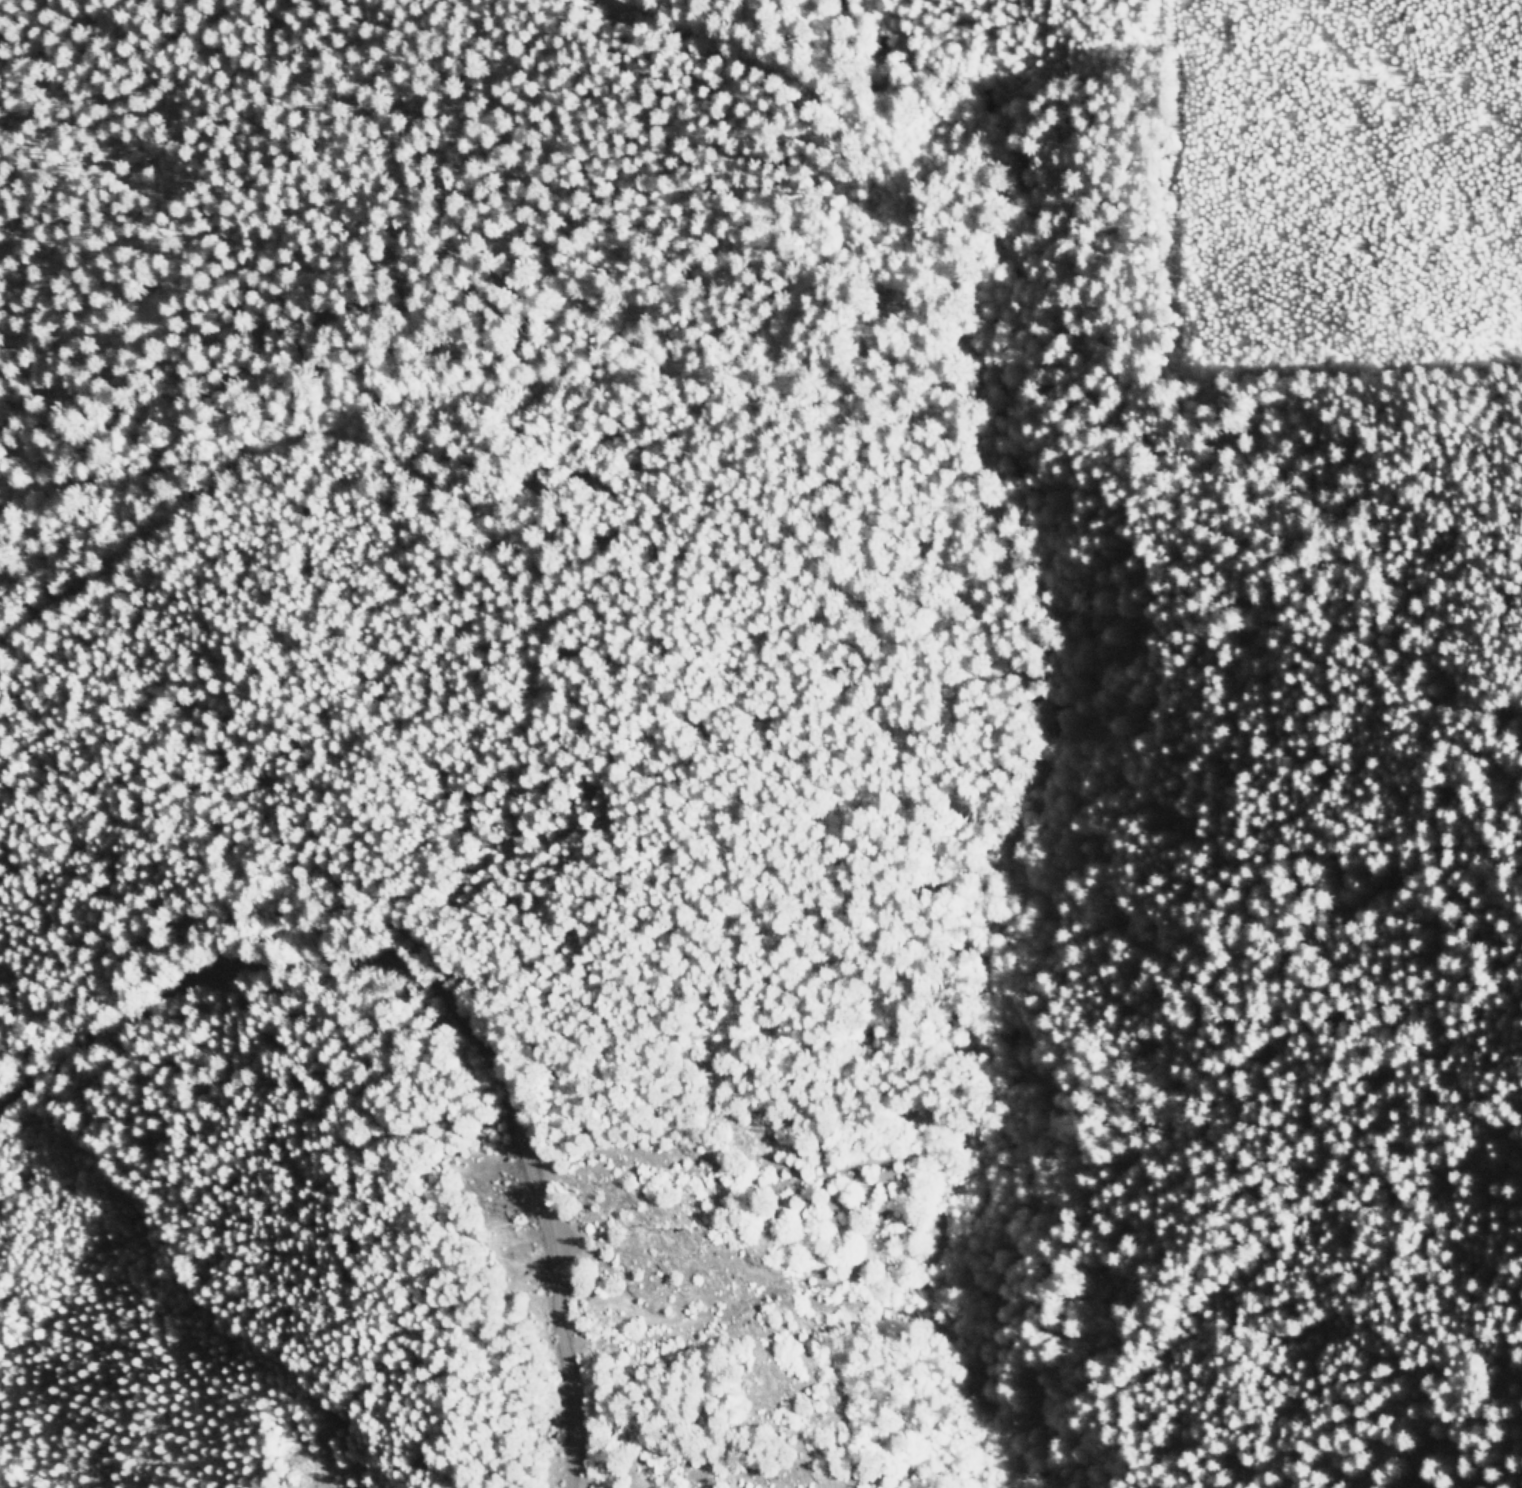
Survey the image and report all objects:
road: (435, 1018)

